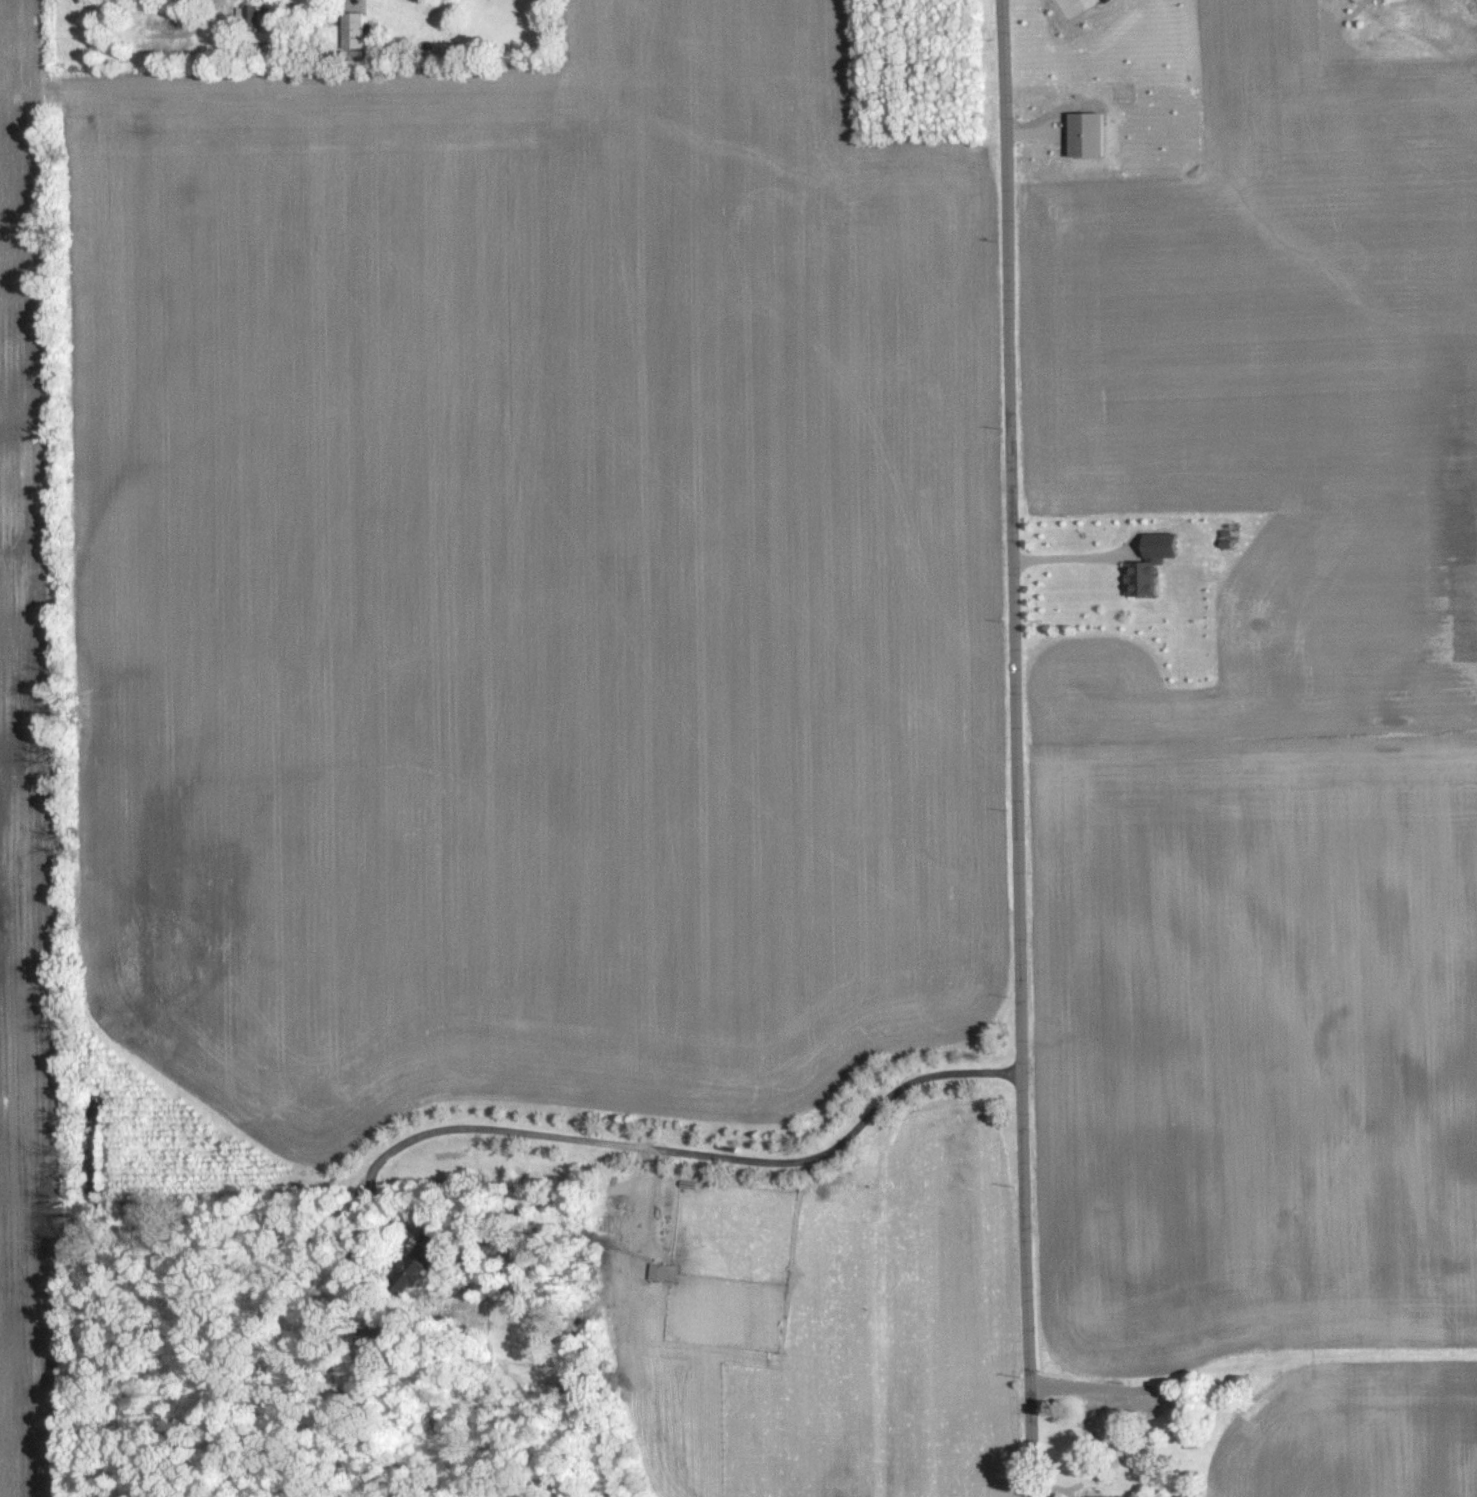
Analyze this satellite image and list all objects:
building: (1076, 5)
building: (259, 16)
building: (354, 30)
building: (1092, 135)
road: (1064, 556)
building: (1153, 569)
road: (1015, 748)
road: (682, 1154)
road: (1100, 1390)
building: (1139, 1496)

